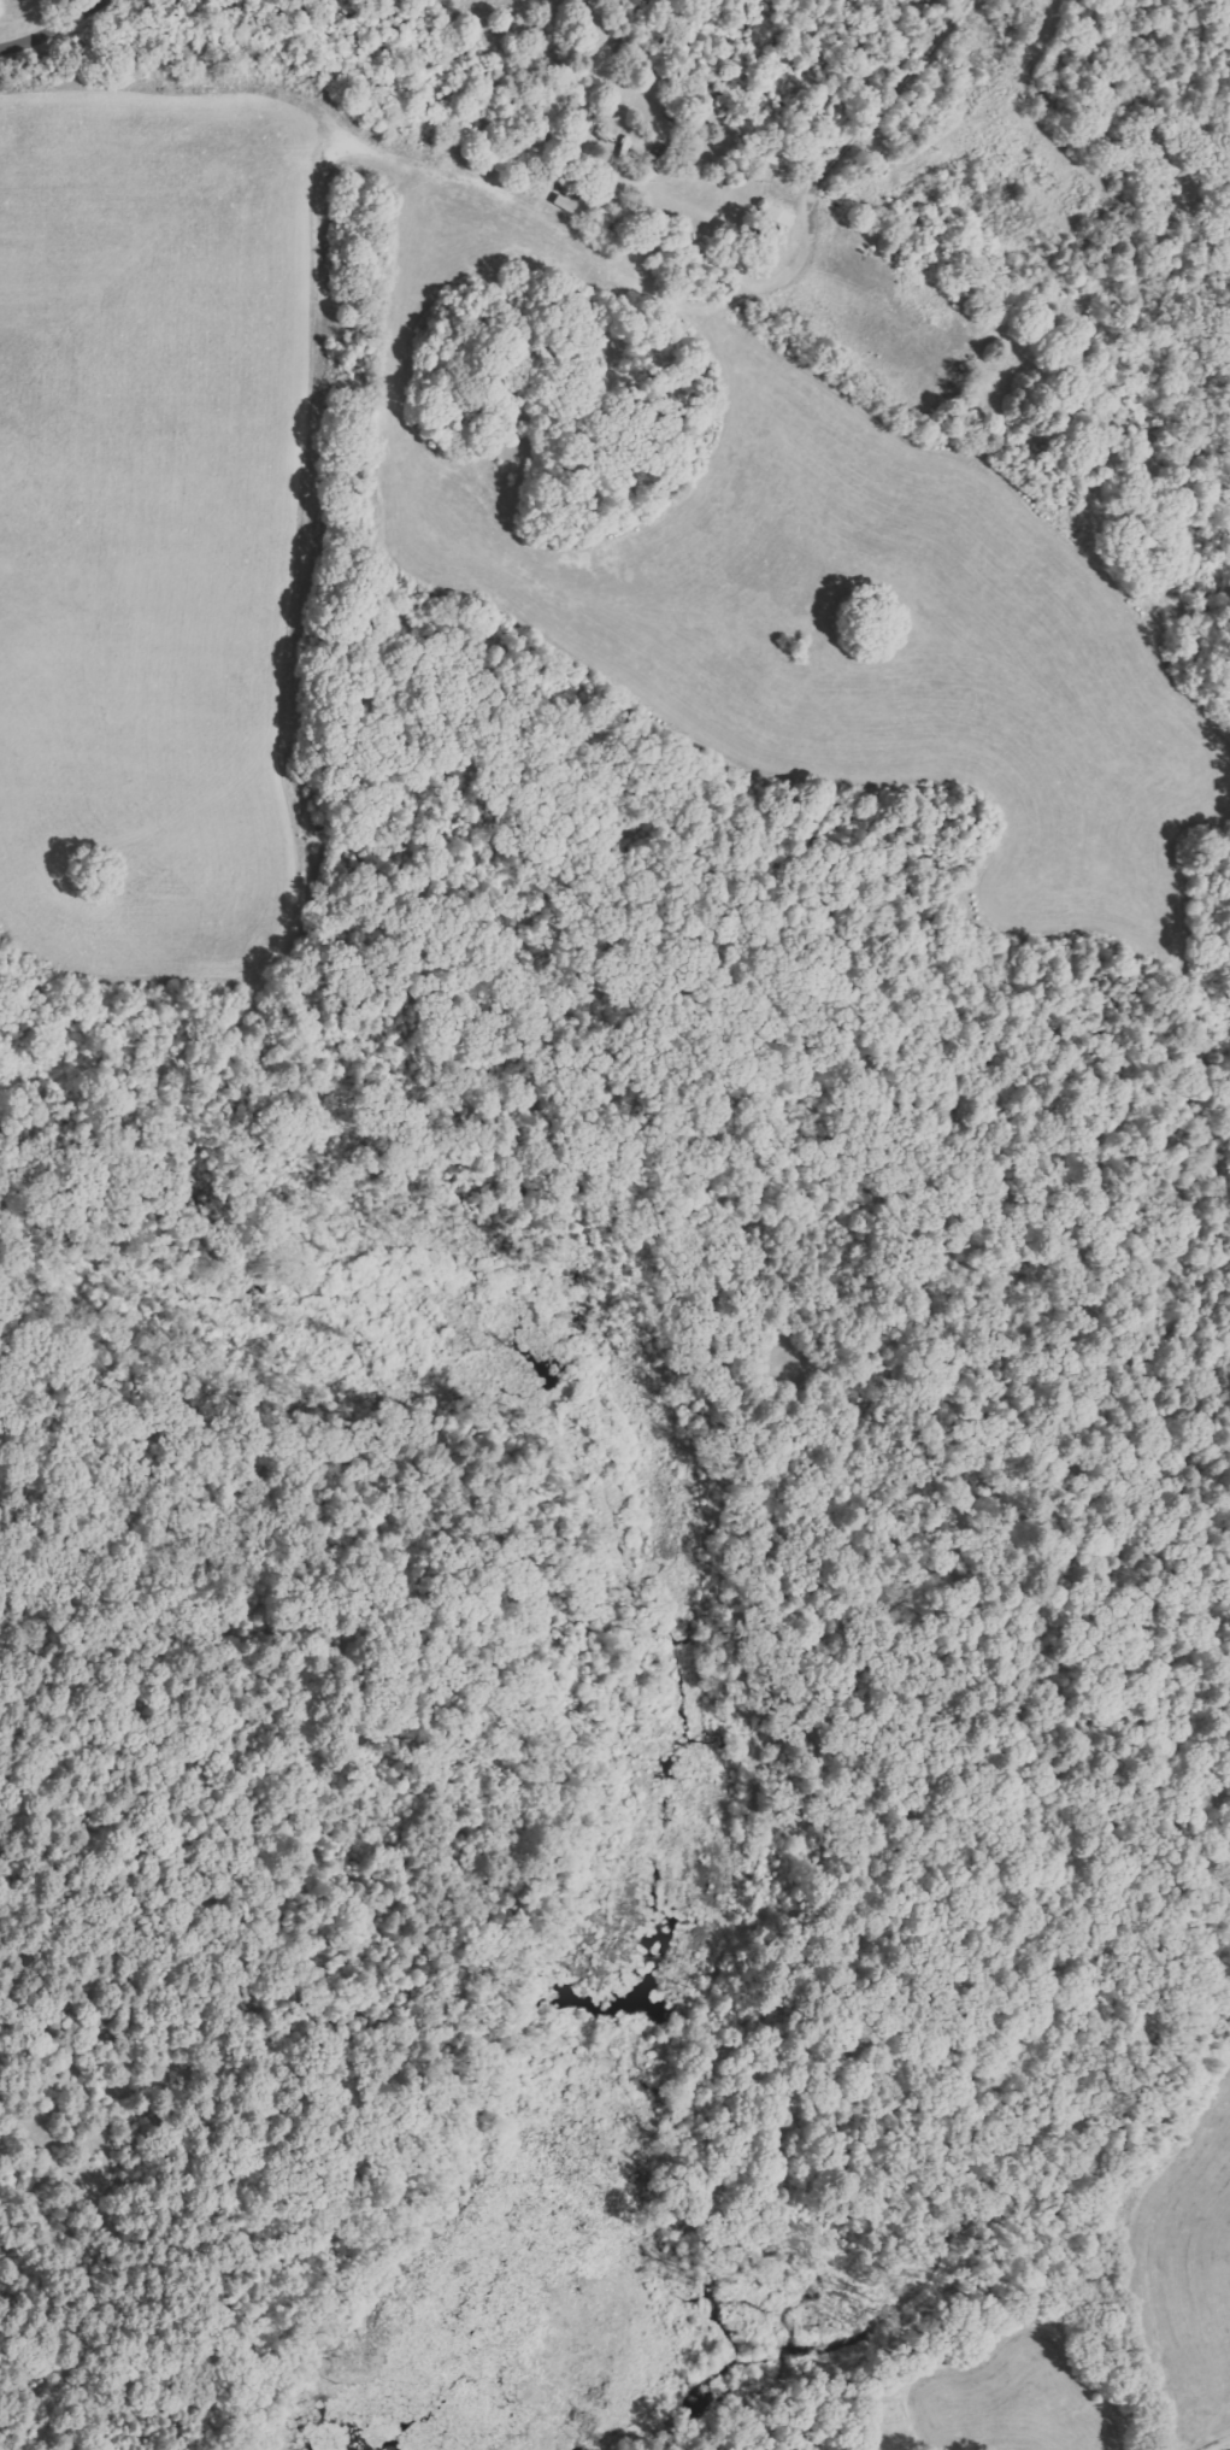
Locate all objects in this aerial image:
road: (60, 31)

